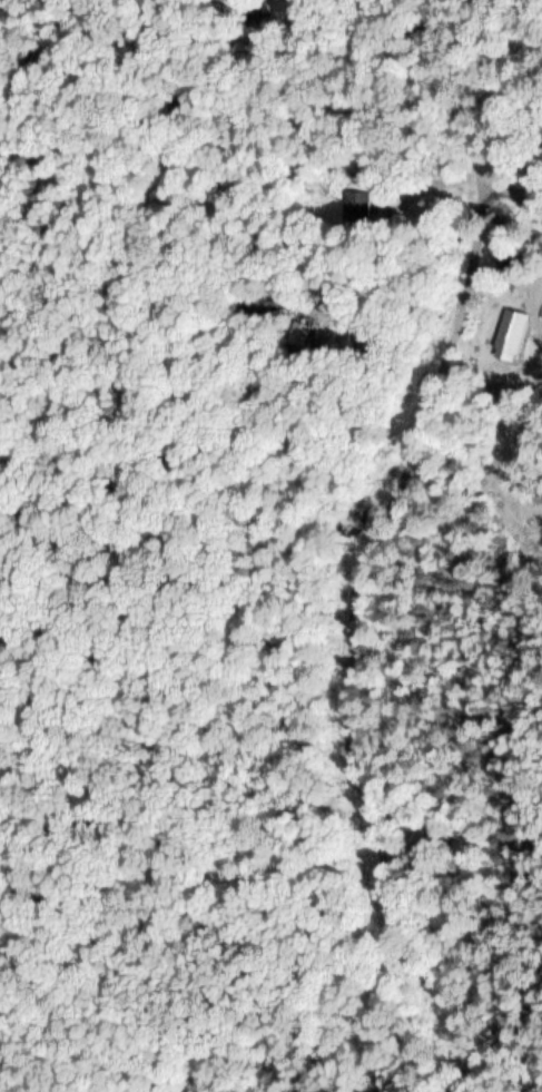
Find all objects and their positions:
road: (467, 122)
building: (361, 201)
road: (347, 619)

